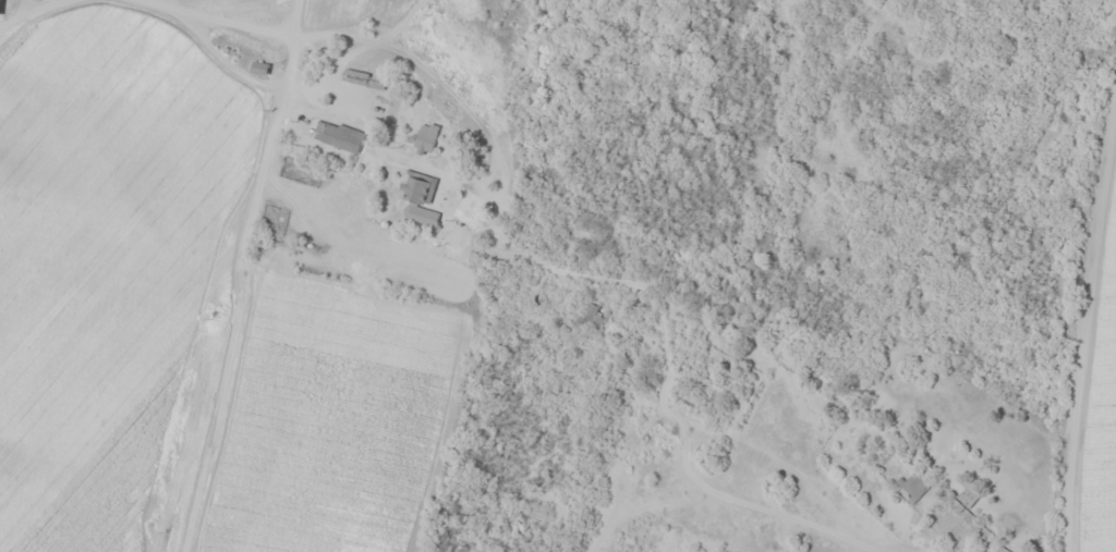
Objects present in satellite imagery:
road: (254, 212)

